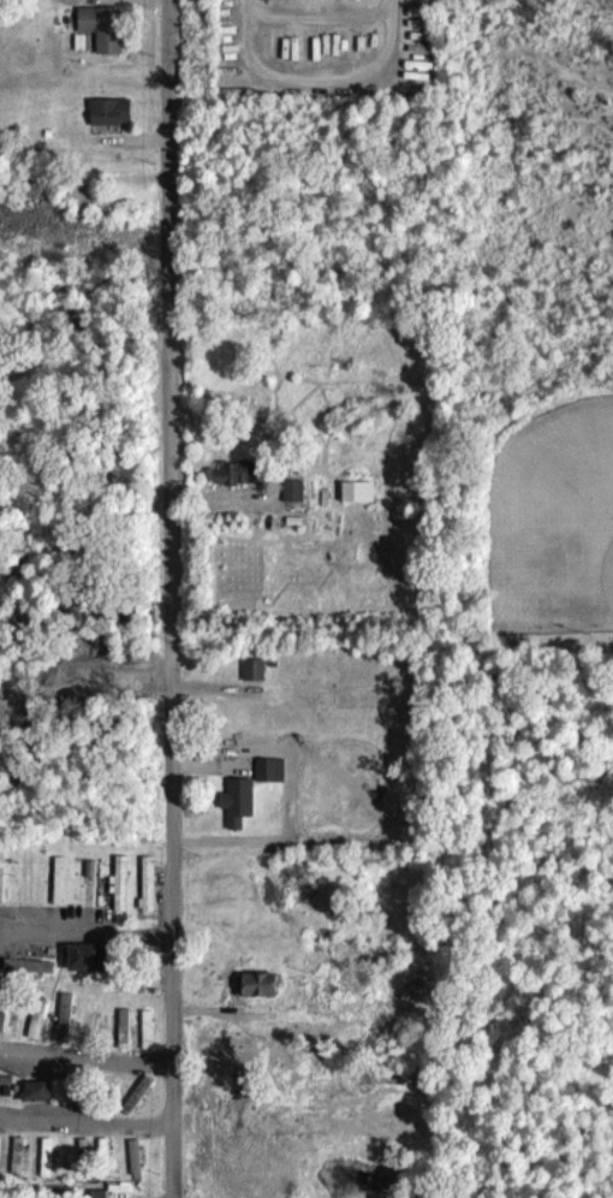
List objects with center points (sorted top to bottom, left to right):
road: (120, 4)
road: (316, 18)
building: (105, 37)
road: (316, 78)
building: (112, 121)
building: (238, 484)
building: (294, 500)
building: (359, 502)
road: (172, 599)
building: (239, 812)
road: (87, 925)
road: (88, 1061)
road: (88, 1122)

